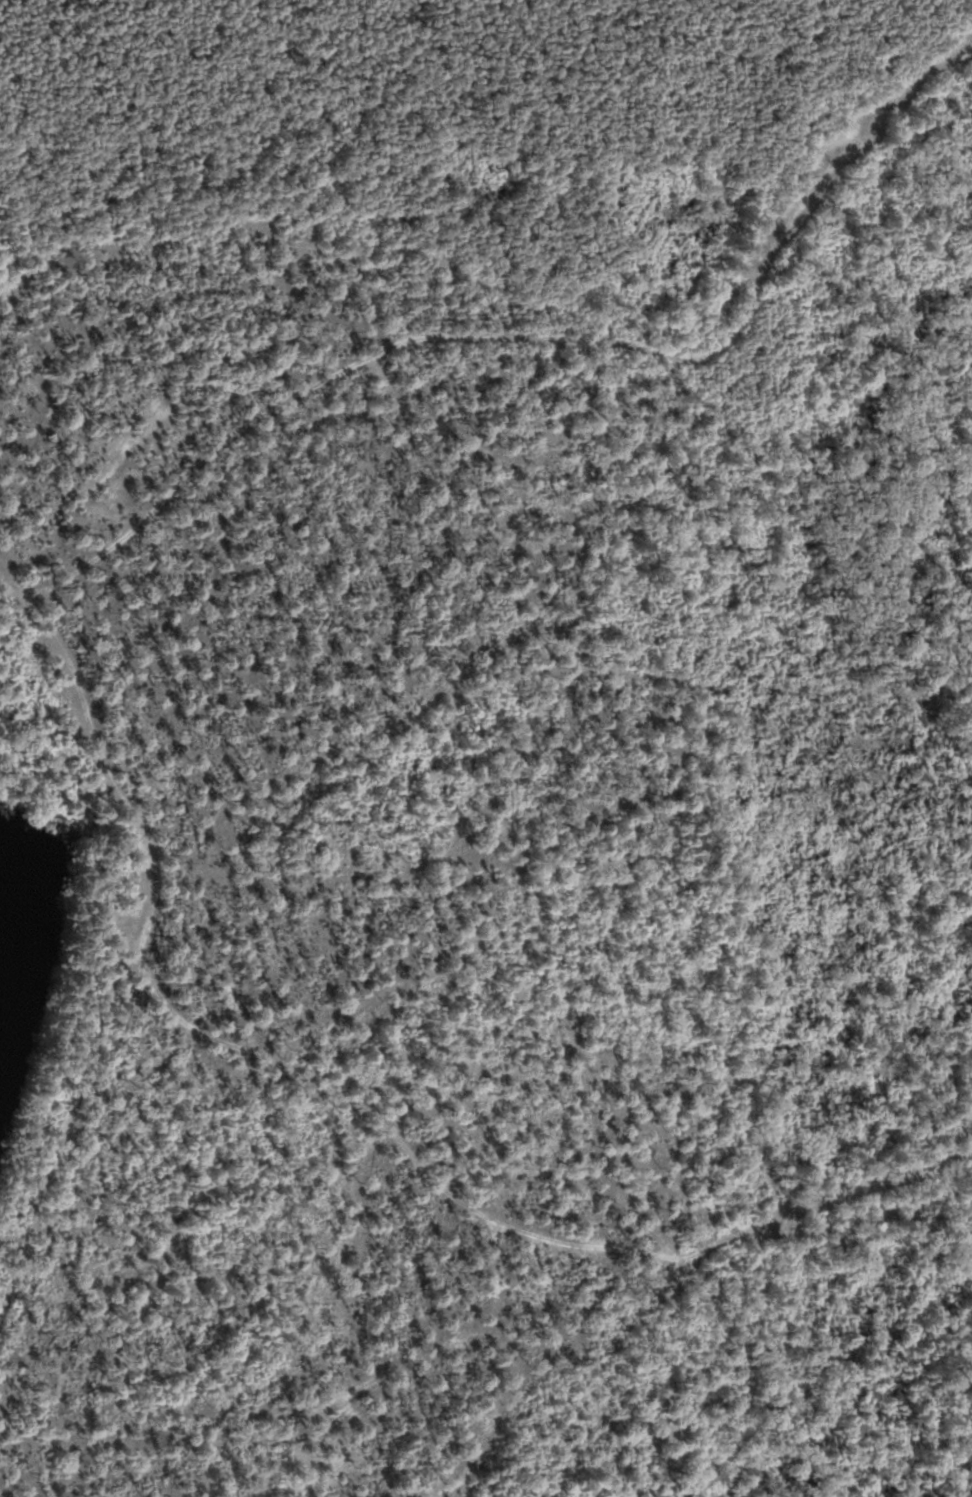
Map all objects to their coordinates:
road: (544, 338)
road: (358, 1100)

